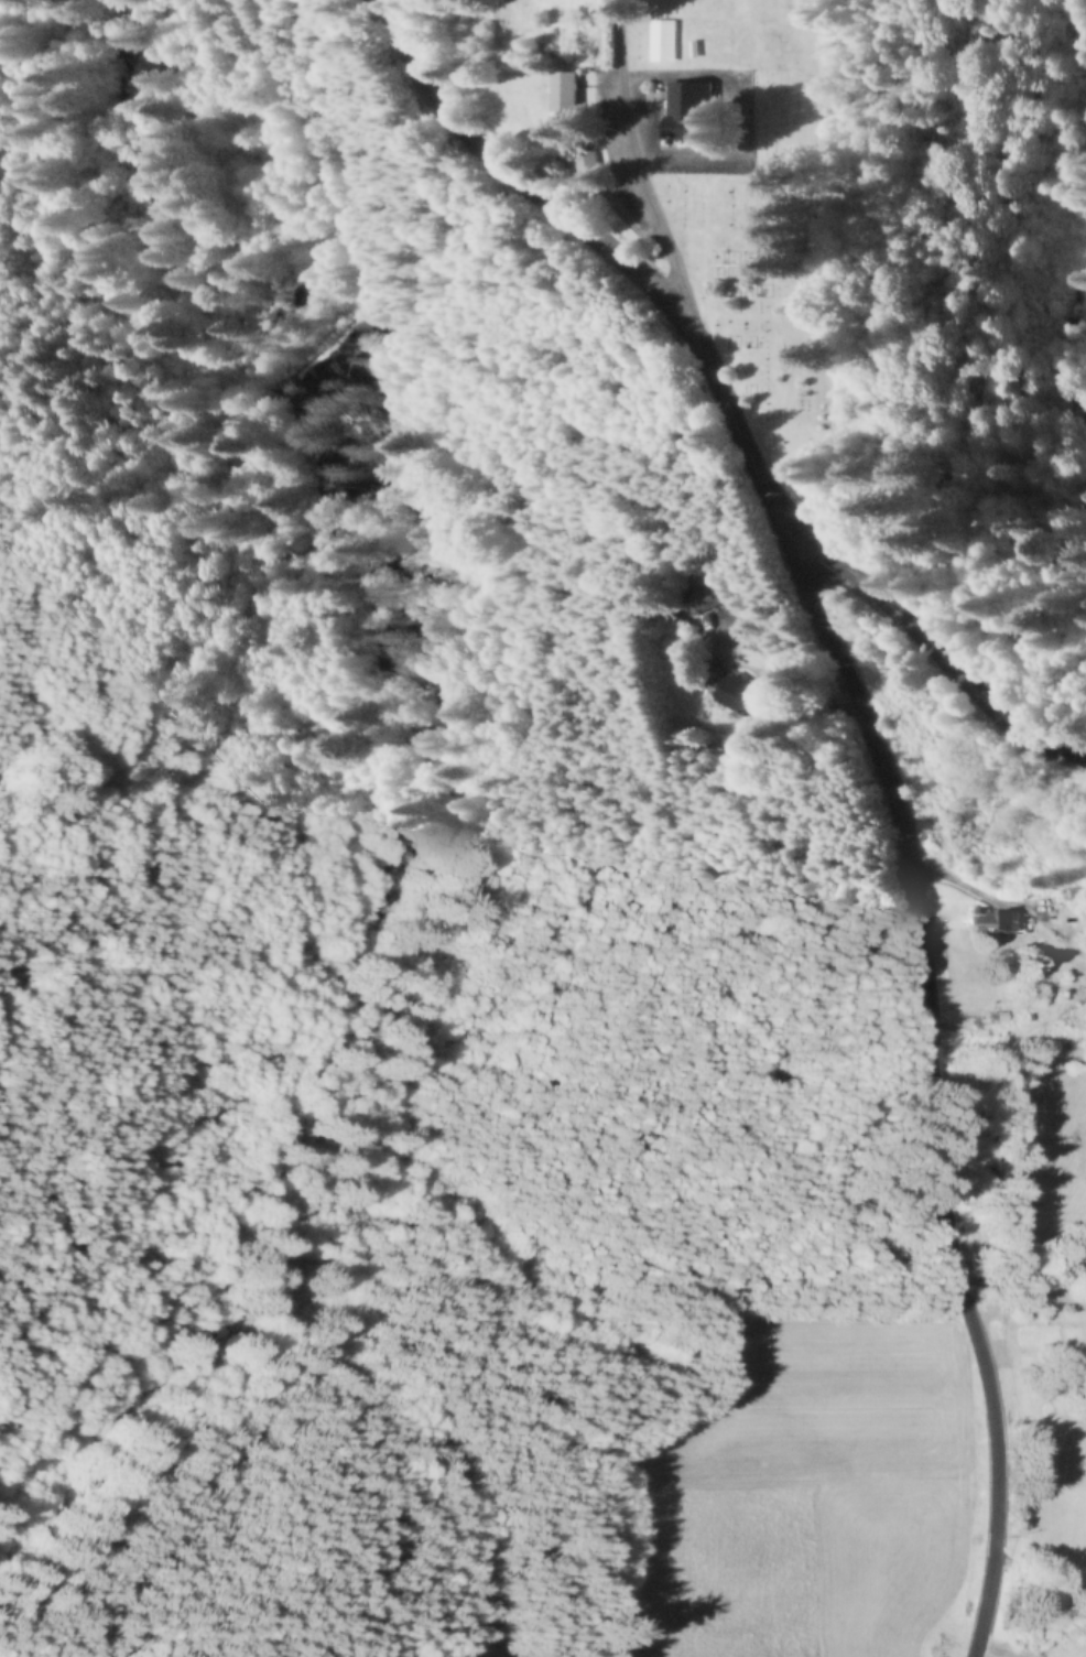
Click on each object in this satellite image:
building: (567, 91)
building: (686, 111)
building: (590, 162)
road: (649, 164)
road: (726, 396)
building: (712, 599)
building: (741, 696)
building: (999, 923)
road: (933, 1095)

